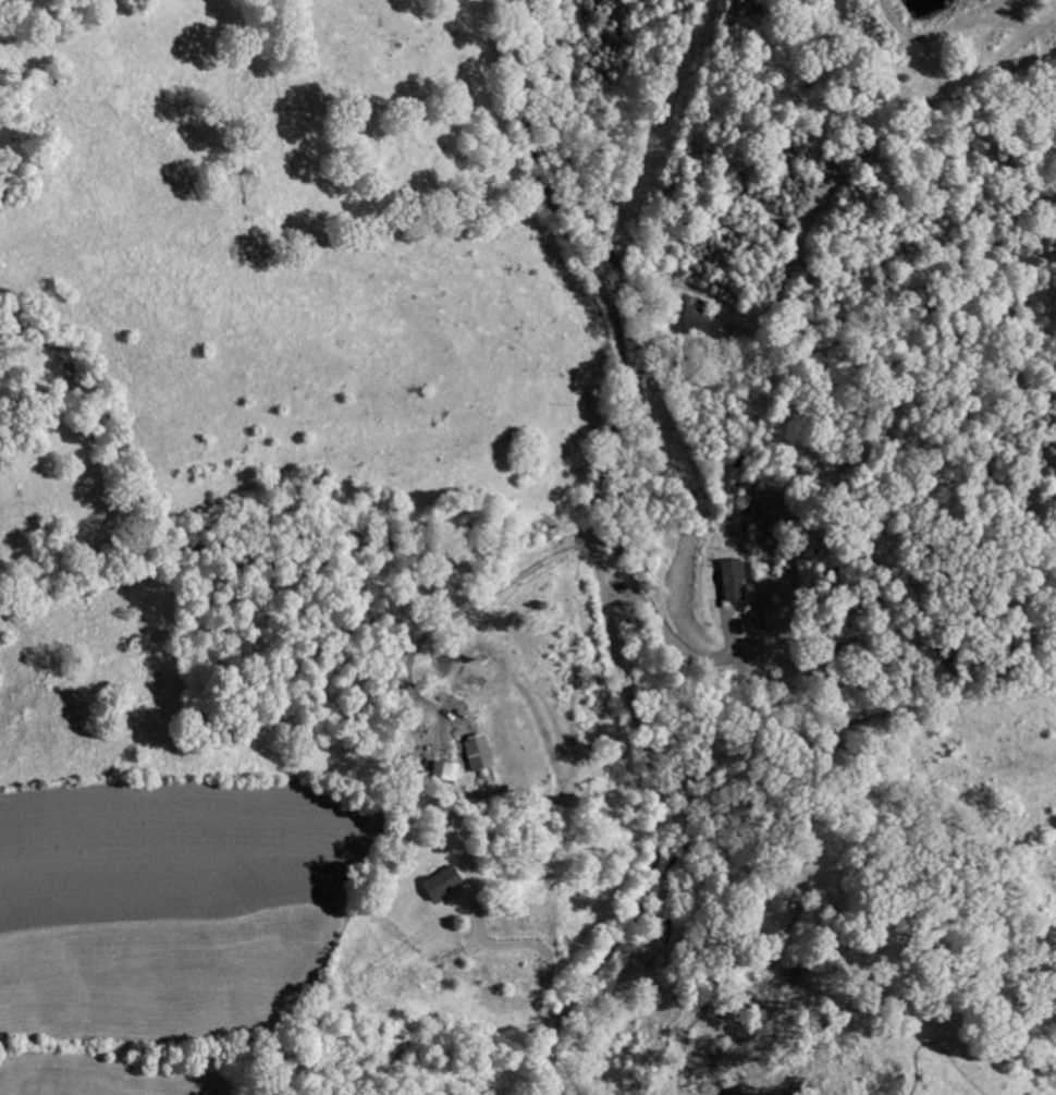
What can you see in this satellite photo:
building: (682, 315)
road: (297, 525)
road: (598, 553)
building: (724, 577)
road: (465, 606)
building: (739, 623)
road: (675, 643)
building: (435, 768)
building: (433, 880)
road: (519, 946)

